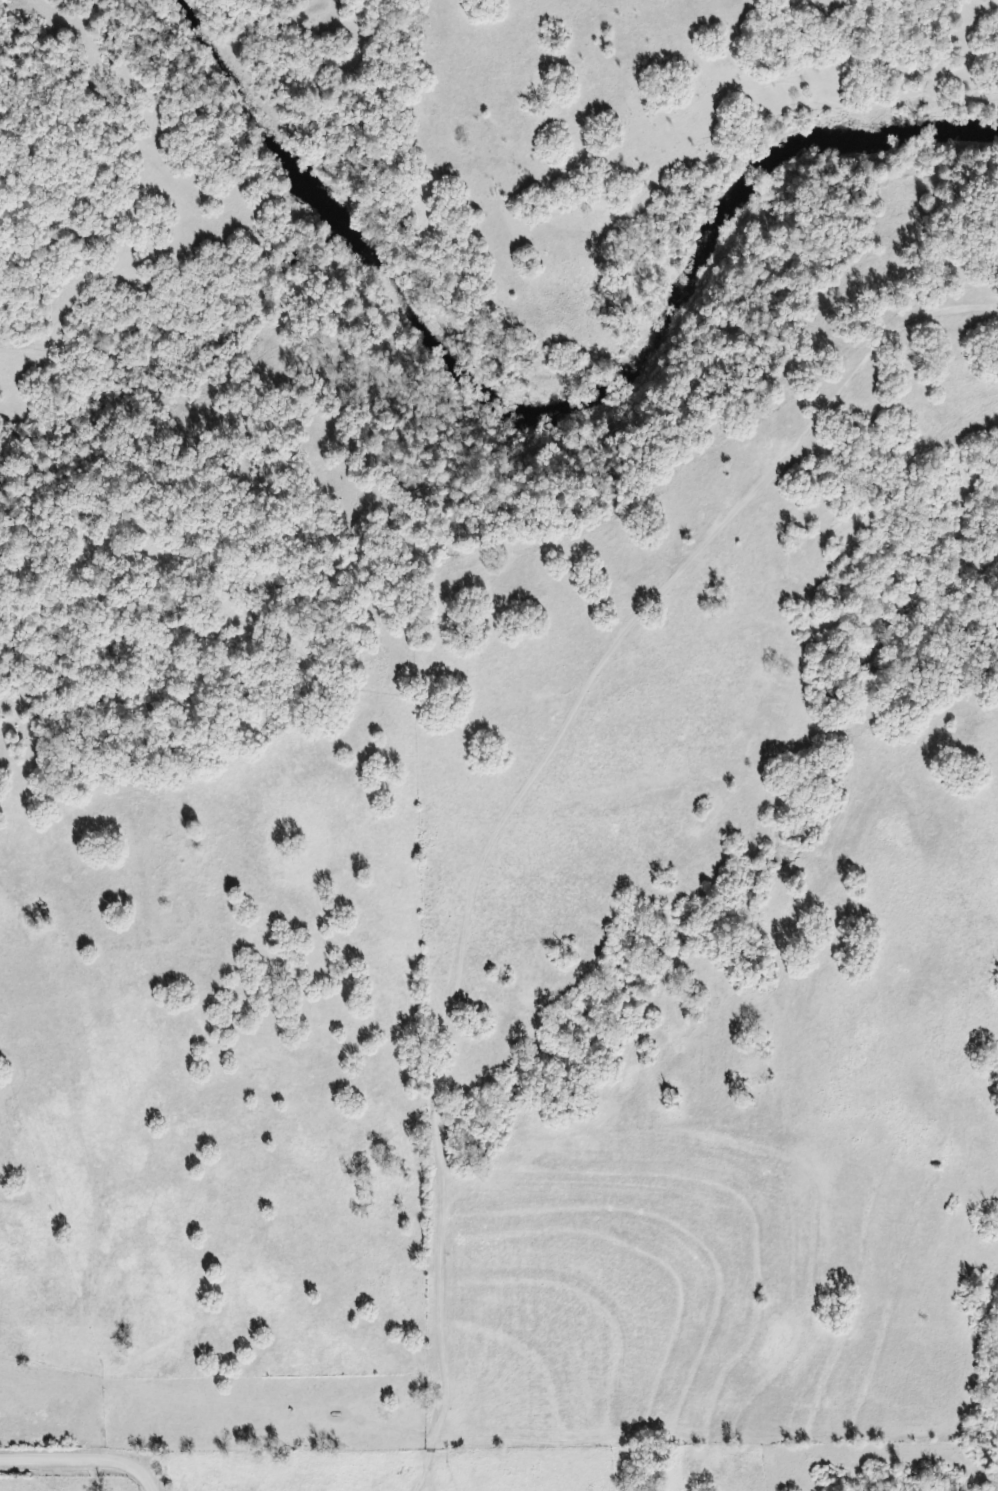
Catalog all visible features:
road: (529, 800)
road: (87, 1460)

